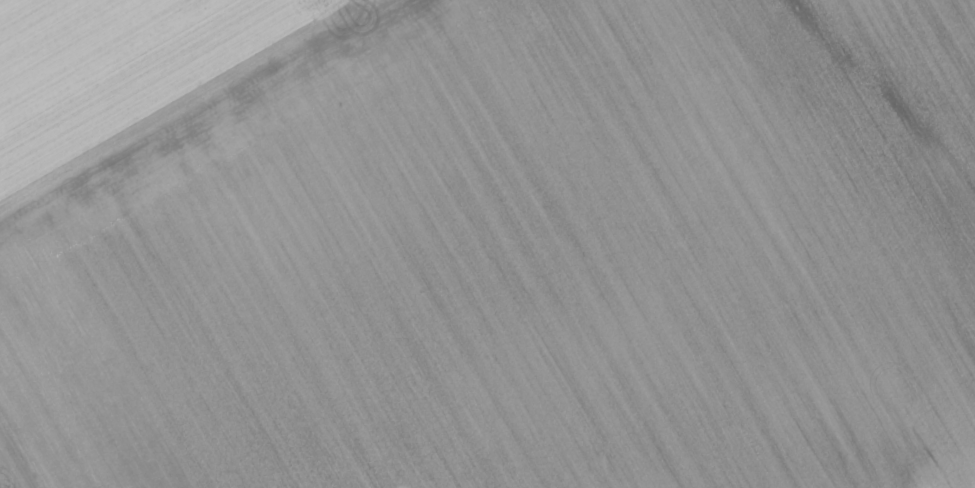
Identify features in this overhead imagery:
road: (972, 5)

